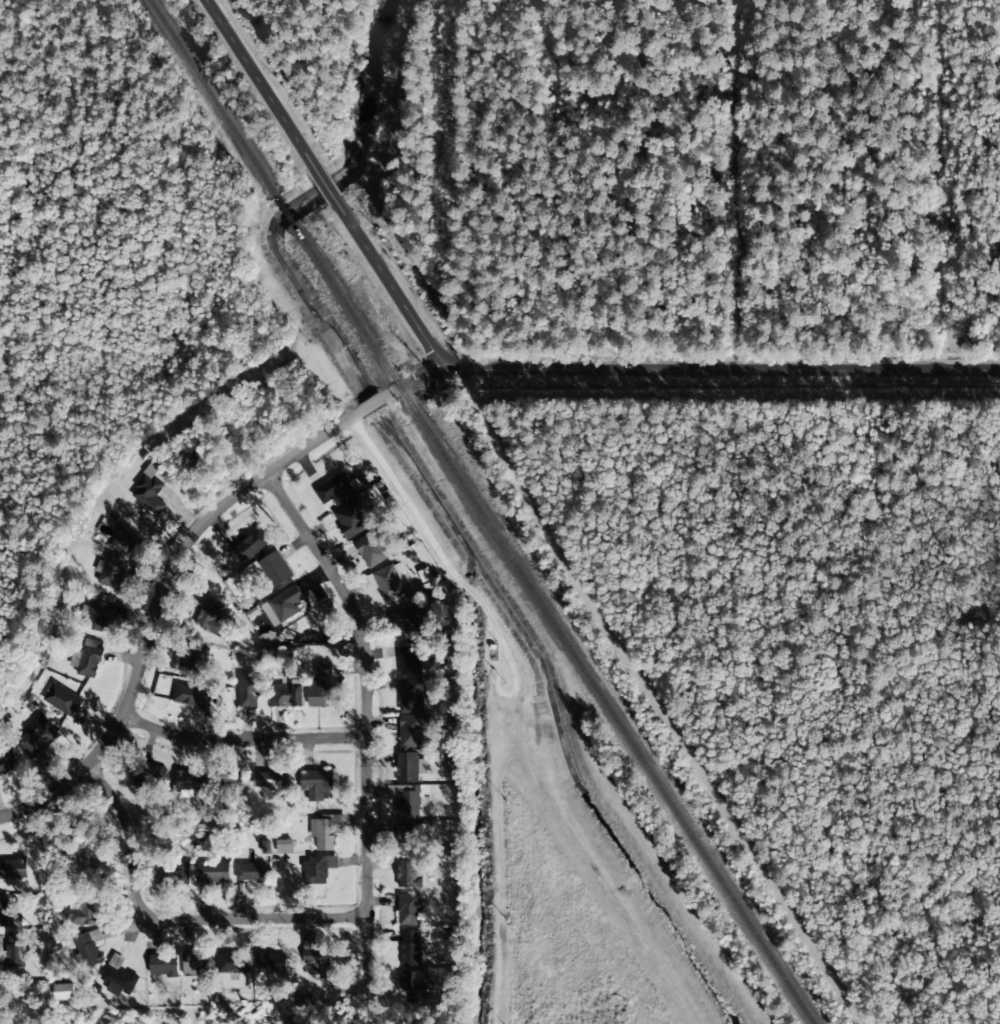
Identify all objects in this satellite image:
road: (258, 81)
railway: (212, 98)
road: (324, 183)
railway: (285, 211)
road: (390, 287)
road: (689, 370)
road: (372, 404)
building: (339, 488)
building: (149, 494)
building: (352, 518)
building: (251, 546)
building: (370, 549)
building: (116, 559)
building: (276, 568)
building: (391, 581)
building: (368, 583)
road: (160, 600)
building: (283, 605)
building: (98, 613)
building: (210, 618)
building: (409, 619)
railway: (553, 624)
building: (409, 658)
building: (89, 661)
building: (194, 663)
building: (322, 670)
road: (363, 683)
building: (248, 690)
building: (287, 694)
building: (319, 694)
building: (192, 695)
building: (410, 695)
building: (62, 699)
building: (412, 730)
building: (38, 735)
road: (239, 738)
building: (7, 762)
building: (410, 766)
building: (150, 776)
building: (266, 779)
building: (189, 780)
building: (316, 783)
building: (404, 798)
building: (323, 832)
building: (407, 833)
road: (130, 835)
building: (284, 846)
building: (318, 868)
building: (13, 869)
building: (79, 871)
building: (213, 872)
building: (251, 872)
building: (409, 874)
building: (174, 875)
building: (409, 909)
building: (82, 911)
building: (10, 913)
road: (248, 918)
building: (16, 948)
building: (89, 948)
building: (318, 957)
building: (411, 961)
building: (233, 962)
building: (269, 962)
building: (196, 964)
building: (163, 965)
building: (118, 977)
building: (1, 982)
building: (64, 991)

